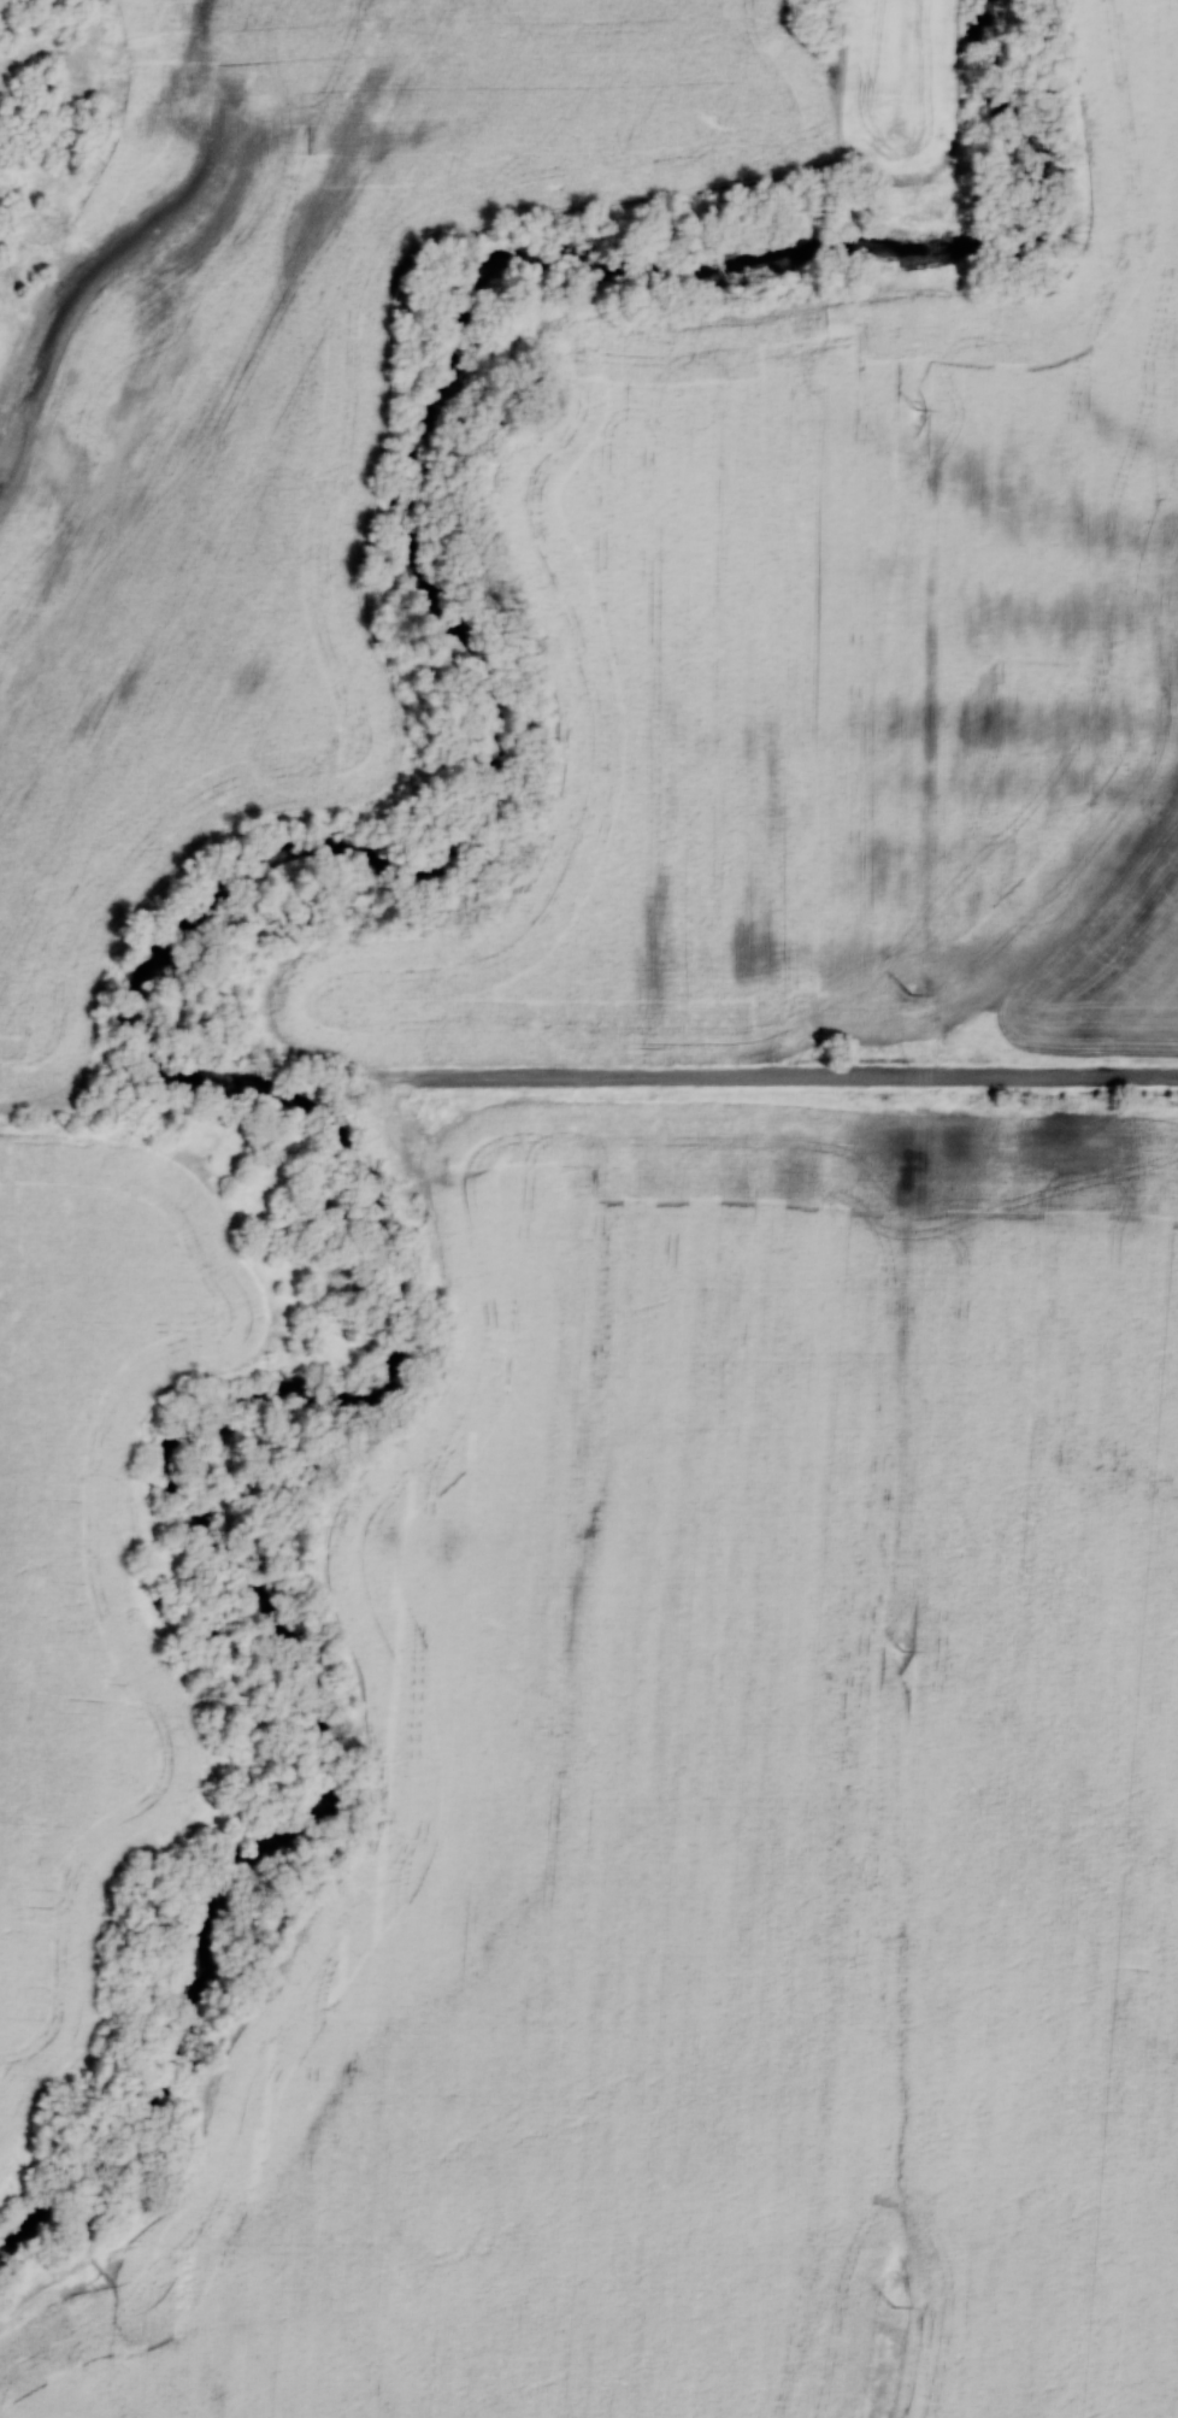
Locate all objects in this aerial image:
power tower: (917, 355)
river: (158, 973)
power tower: (909, 989)
road: (779, 1077)
power tower: (901, 1653)
power tower: (893, 2308)

